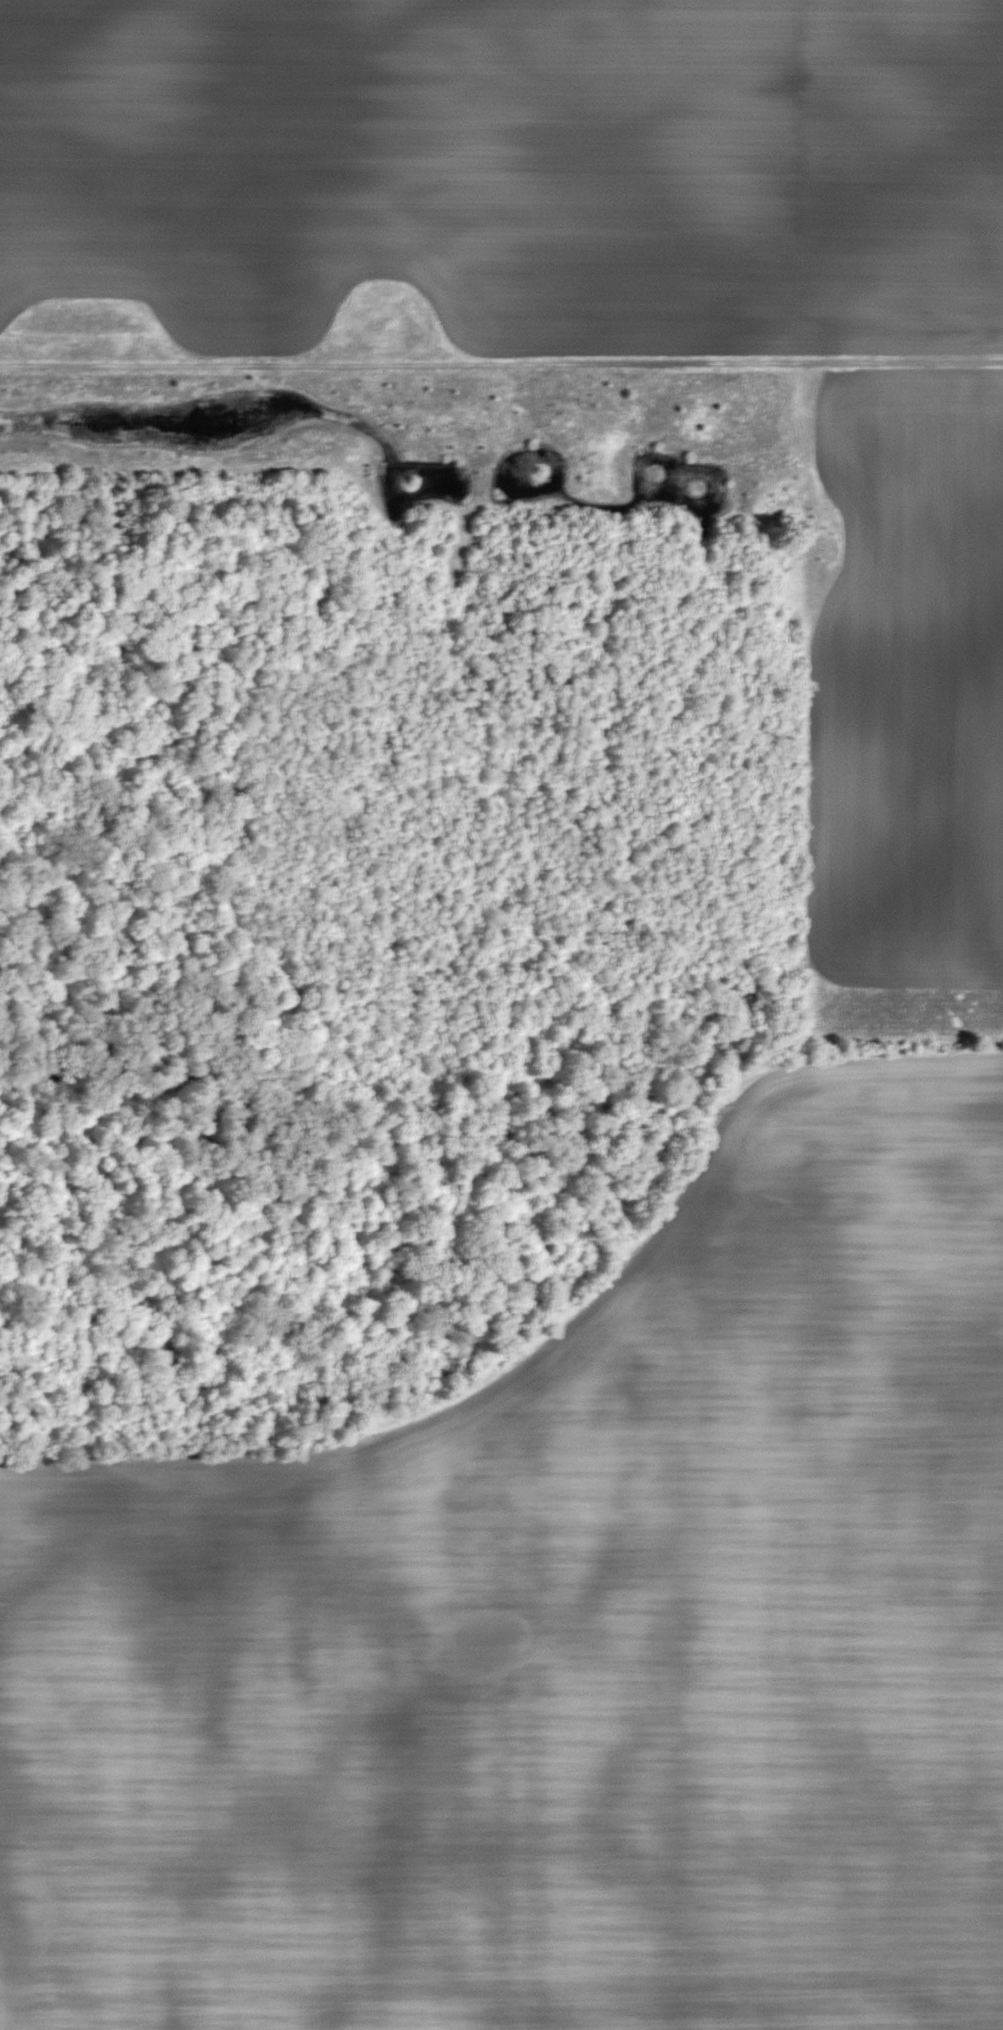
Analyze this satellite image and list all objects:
road: (501, 352)

